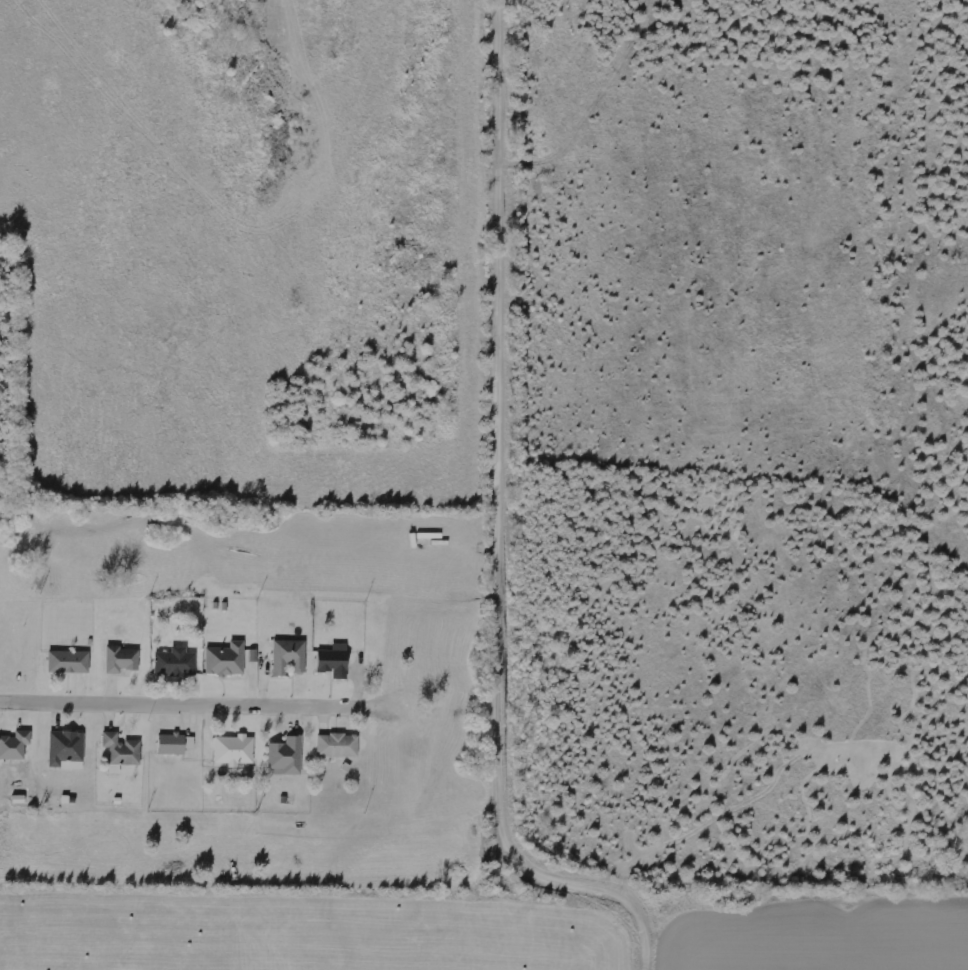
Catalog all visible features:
road: (500, 521)
building: (289, 656)
building: (122, 659)
building: (226, 659)
building: (334, 661)
building: (69, 662)
building: (176, 662)
road: (178, 701)
building: (175, 743)
building: (15, 745)
building: (338, 745)
building: (66, 747)
building: (234, 750)
building: (122, 751)
building: (288, 755)

